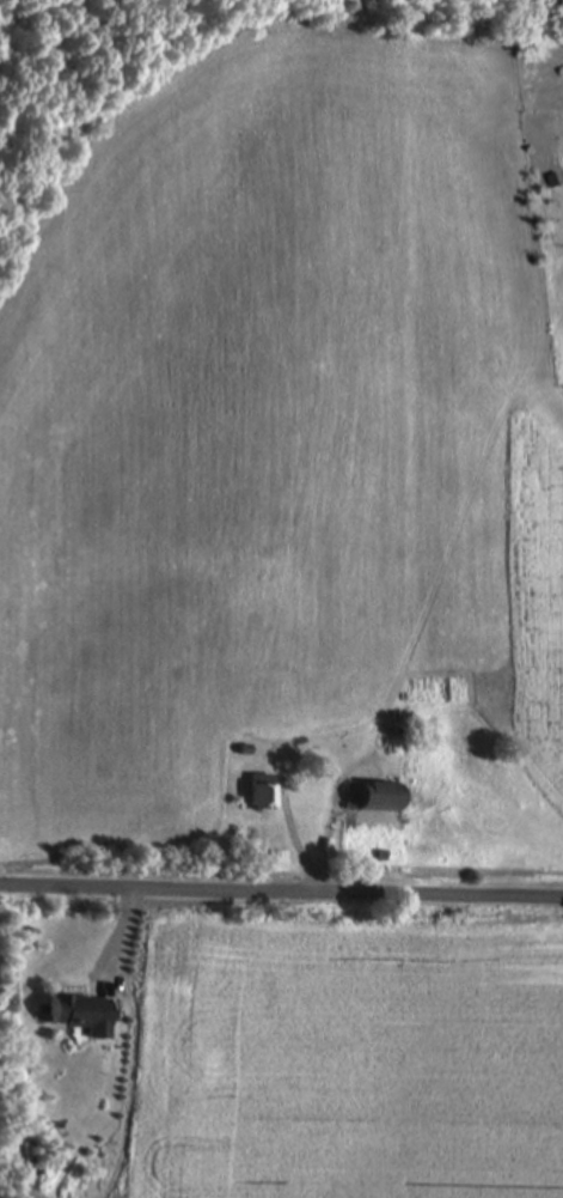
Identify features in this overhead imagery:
building: (261, 795)
building: (380, 801)
road: (281, 892)
building: (80, 1017)

